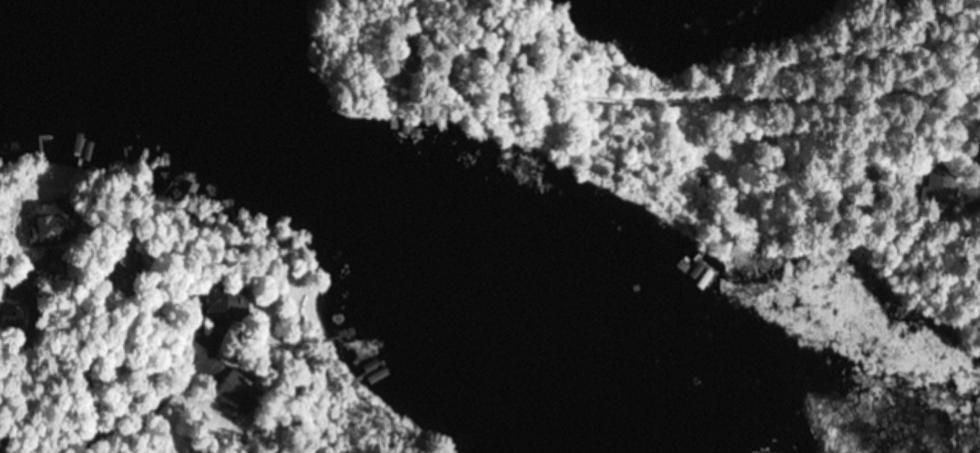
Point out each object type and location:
river: (180, 59)
road: (812, 90)
building: (975, 160)
building: (940, 183)
building: (50, 225)
river: (420, 251)
building: (217, 300)
building: (236, 397)

